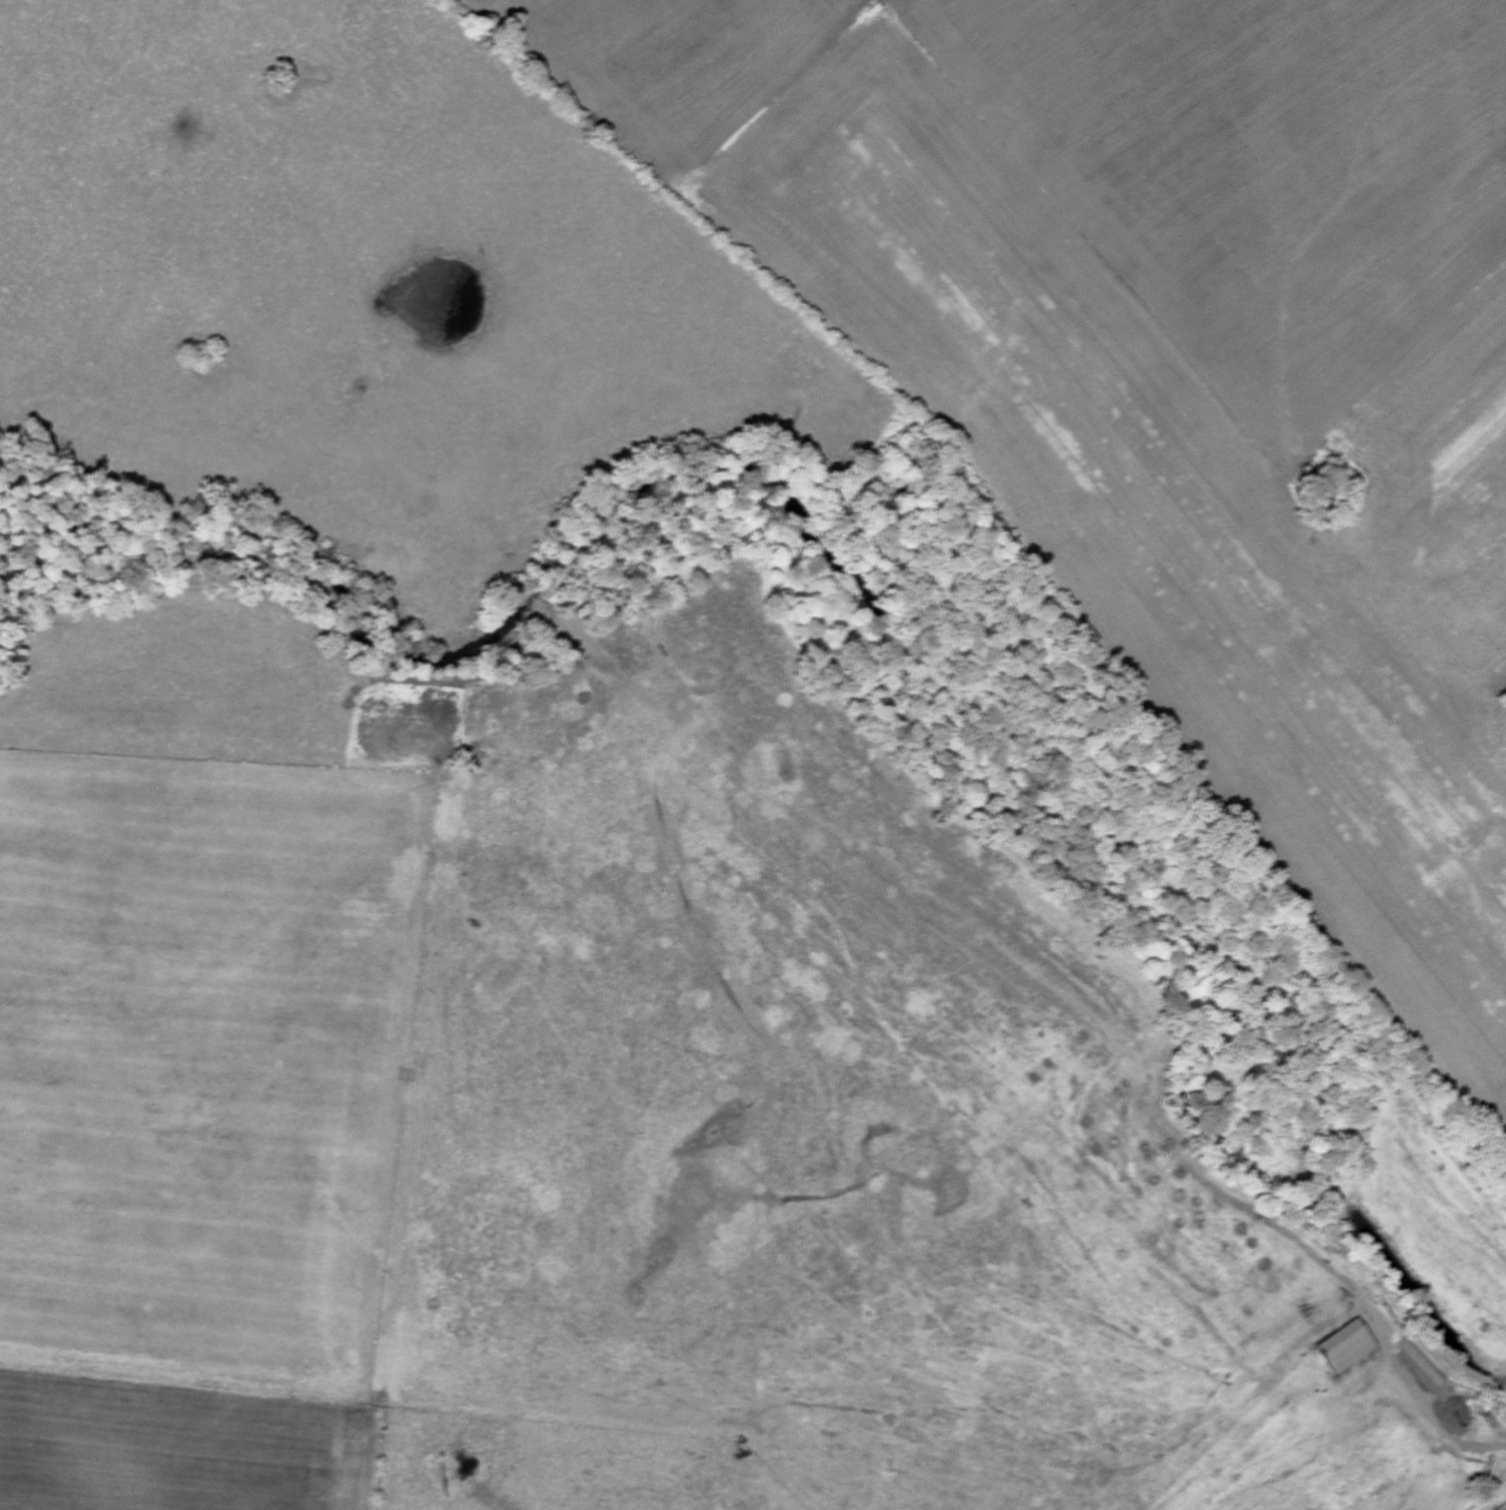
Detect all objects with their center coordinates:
building: (1344, 1347)

